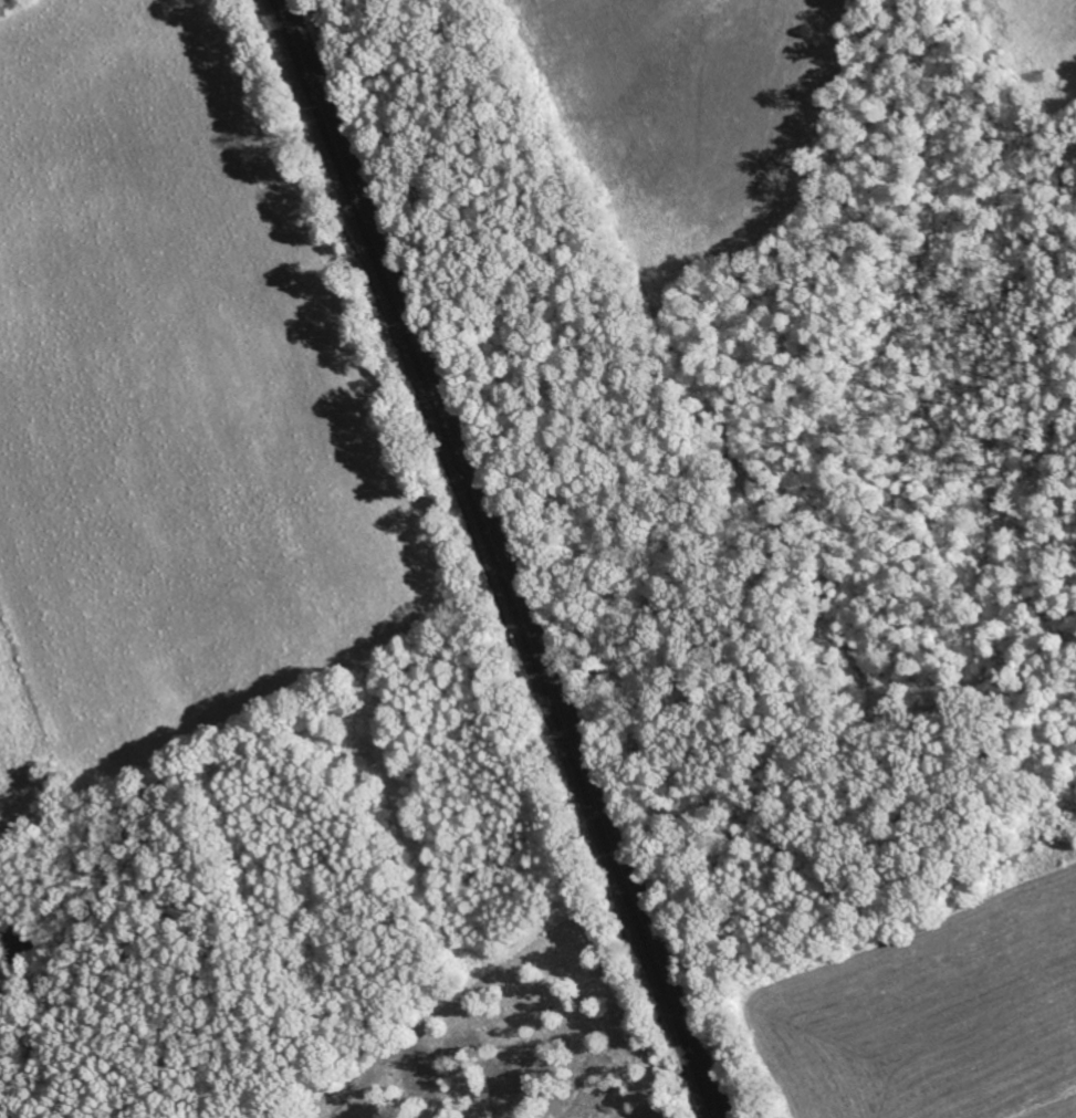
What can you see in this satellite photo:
railway: (493, 557)
railway: (504, 558)
road: (21, 1052)

